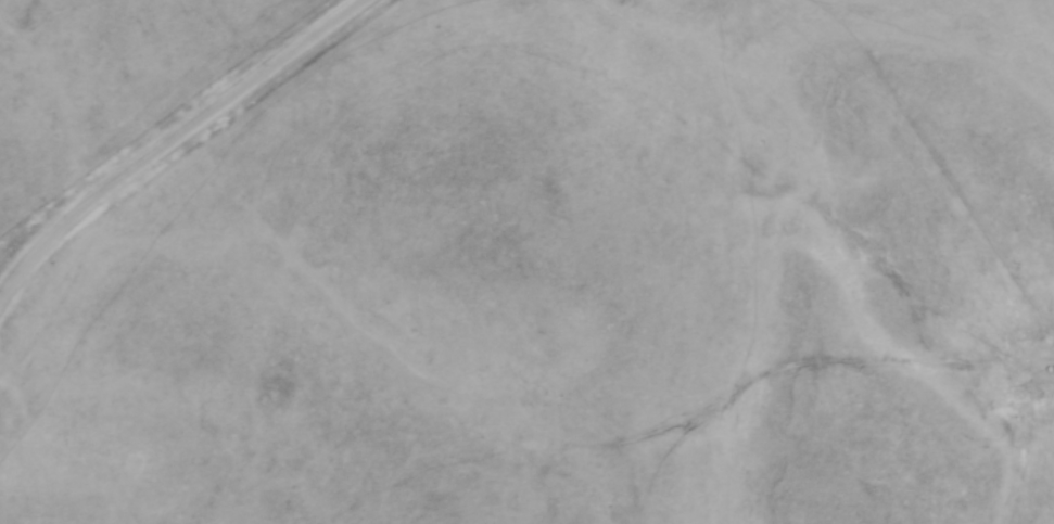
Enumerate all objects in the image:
road: (174, 137)

